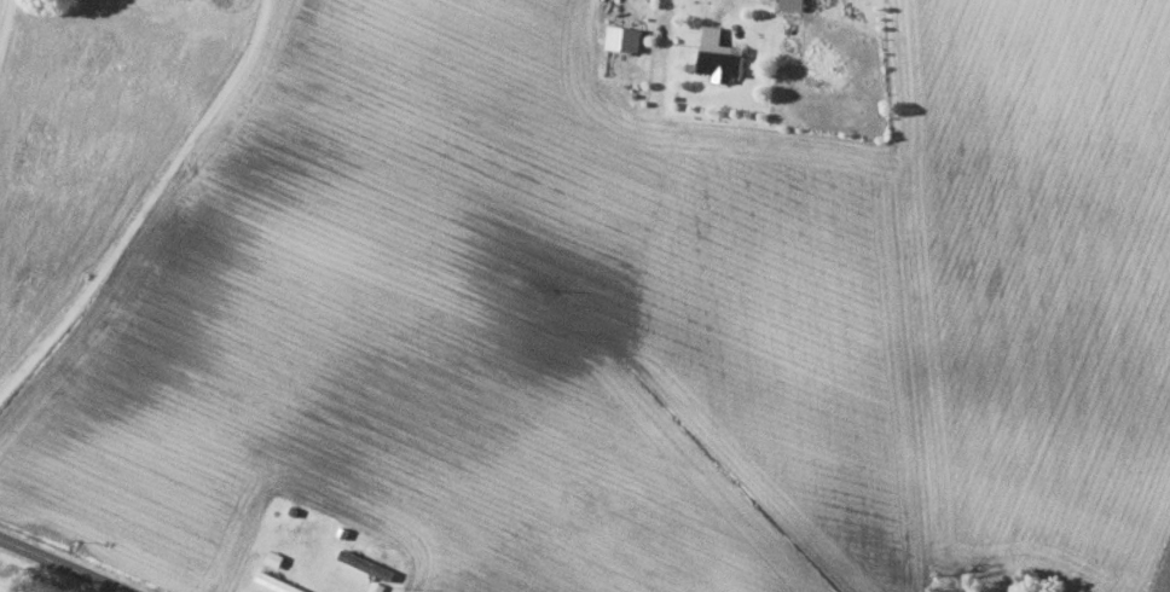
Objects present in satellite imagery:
road: (709, 4)
building: (794, 4)
road: (5, 21)
building: (625, 36)
building: (720, 53)
road: (145, 204)
building: (367, 563)
road: (56, 569)

